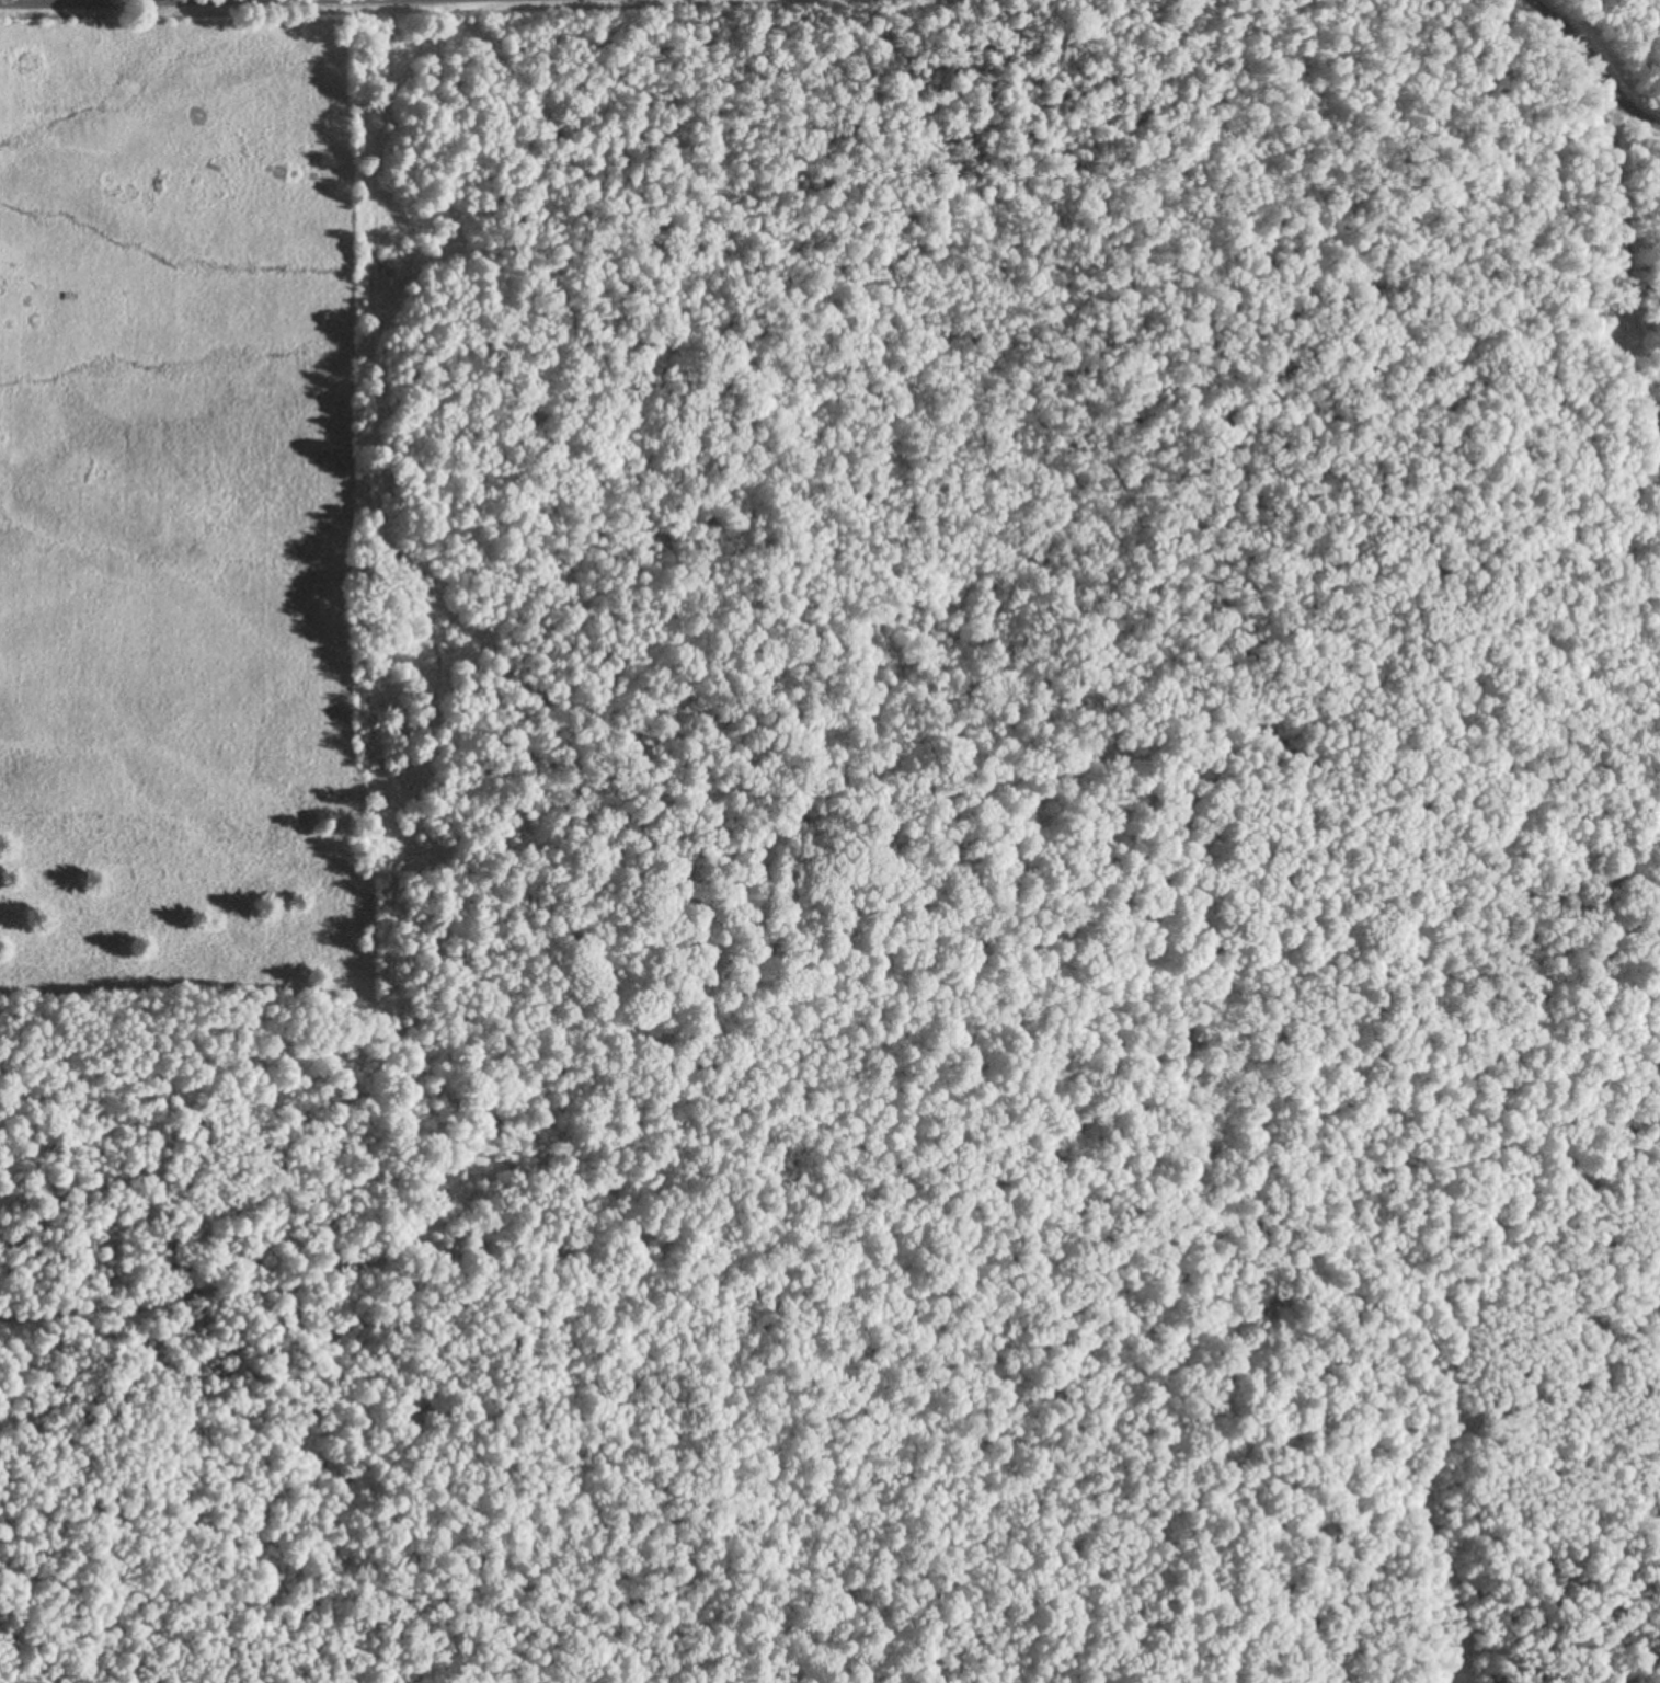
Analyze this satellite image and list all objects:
road: (145, 3)
road: (1599, 64)

